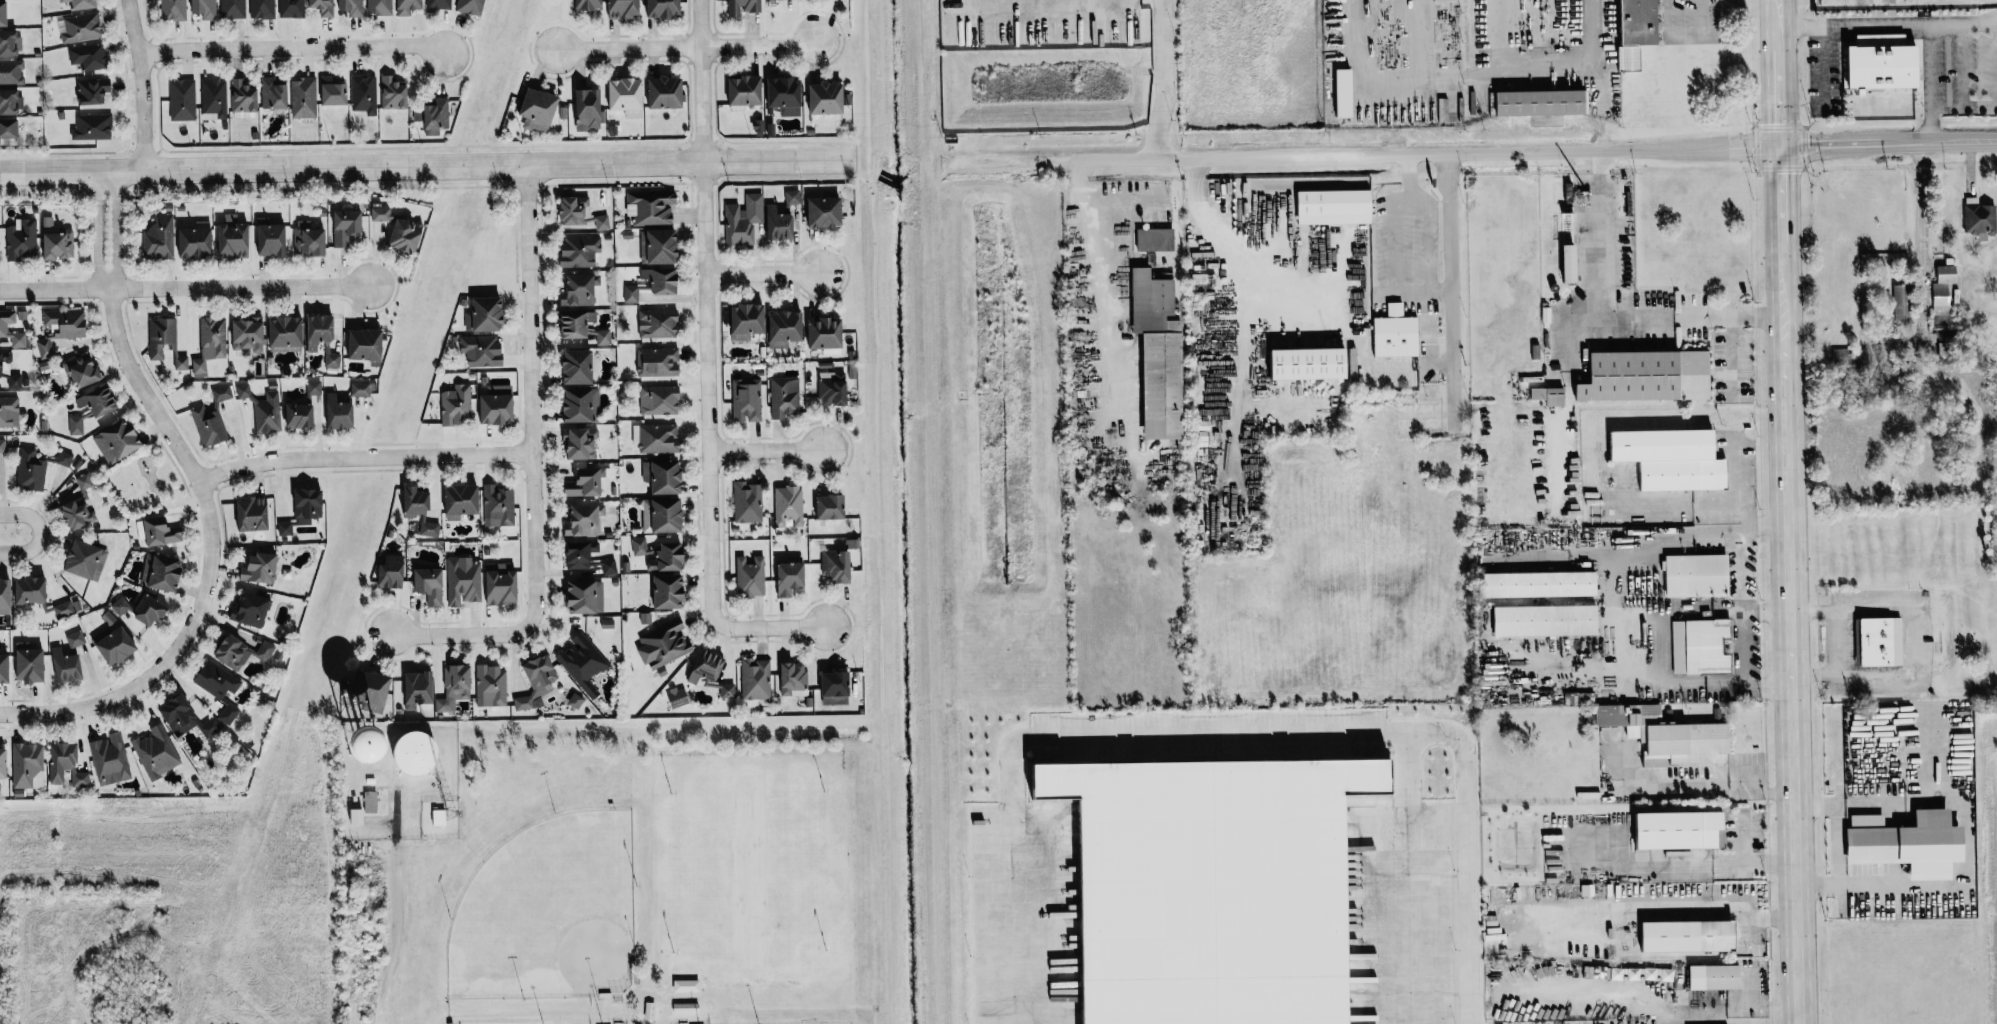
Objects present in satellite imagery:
building: (778, 0)
building: (1438, 0)
building: (79, 4)
building: (438, 4)
building: (589, 4)
building: (323, 7)
building: (351, 7)
building: (379, 7)
building: (408, 7)
building: (471, 7)
building: (743, 7)
building: (205, 8)
building: (232, 9)
building: (261, 9)
building: (291, 9)
building: (664, 9)
building: (173, 10)
road: (1777, 12)
building: (4, 14)
road: (1907, 23)
road: (1958, 25)
building: (81, 28)
building: (1640, 30)
road: (1683, 37)
road: (1778, 37)
building: (9, 43)
road: (293, 47)
road: (687, 47)
building: (88, 57)
building: (10, 72)
road: (1469, 73)
road: (1157, 79)
road: (701, 80)
road: (142, 84)
building: (92, 91)
building: (747, 91)
building: (666, 93)
building: (1346, 93)
building: (273, 94)
building: (334, 94)
building: (364, 94)
building: (393, 94)
building: (787, 96)
building: (244, 97)
building: (303, 97)
building: (627, 97)
road: (1780, 97)
building: (213, 99)
building: (827, 99)
building: (182, 100)
building: (10, 103)
building: (1543, 103)
building: (589, 108)
building: (539, 110)
building: (1444, 110)
building: (418, 115)
building: (437, 116)
building: (93, 127)
building: (9, 128)
road: (1959, 141)
road: (1851, 143)
road: (1368, 155)
road: (425, 166)
road: (1409, 177)
building: (1563, 192)
road: (1782, 193)
building: (793, 197)
building: (1336, 207)
building: (652, 208)
building: (577, 210)
building: (825, 213)
building: (380, 214)
building: (1975, 217)
building: (743, 220)
building: (602, 222)
building: (779, 224)
building: (48, 225)
building: (345, 227)
road: (115, 230)
road: (97, 231)
road: (1922, 233)
building: (406, 235)
road: (1098, 236)
building: (159, 237)
building: (271, 238)
building: (22, 240)
building: (309, 240)
building: (1156, 240)
building: (234, 241)
building: (196, 243)
building: (59, 246)
building: (660, 247)
building: (580, 252)
building: (0, 261)
building: (1573, 263)
road: (763, 273)
building: (1942, 273)
road: (1784, 278)
building: (663, 280)
road: (239, 286)
road: (1450, 287)
road: (54, 289)
building: (580, 291)
road: (1412, 292)
road: (1441, 292)
building: (631, 294)
building: (1937, 296)
building: (1898, 301)
road: (1595, 302)
building: (486, 316)
road: (1757, 316)
building: (748, 321)
building: (66, 323)
building: (658, 324)
building: (13, 327)
building: (584, 327)
building: (786, 329)
building: (321, 331)
building: (287, 332)
building: (826, 333)
building: (1397, 334)
building: (248, 335)
building: (165, 341)
building: (210, 344)
building: (366, 345)
building: (44, 349)
building: (482, 351)
building: (1161, 354)
road: (1731, 356)
building: (1845, 357)
building: (332, 360)
building: (658, 362)
building: (1315, 365)
building: (580, 367)
building: (83, 370)
building: (9, 372)
building: (1649, 377)
building: (361, 389)
building: (833, 389)
building: (221, 393)
road: (708, 393)
building: (1550, 396)
building: (785, 397)
building: (746, 400)
building: (99, 401)
building: (660, 401)
building: (457, 405)
building: (581, 405)
building: (497, 406)
building: (305, 408)
building: (262, 409)
building: (9, 412)
building: (339, 414)
building: (75, 425)
building: (208, 426)
building: (659, 439)
building: (118, 441)
building: (581, 444)
road: (766, 451)
road: (363, 457)
building: (1664, 457)
road: (531, 466)
building: (36, 468)
building: (664, 477)
road: (1735, 482)
building: (586, 484)
building: (461, 502)
building: (747, 502)
building: (308, 506)
building: (498, 506)
building: (788, 507)
building: (831, 508)
building: (421, 510)
building: (77, 514)
building: (253, 515)
building: (668, 516)
building: (583, 521)
road: (1767, 522)
road: (1744, 527)
building: (285, 528)
road: (38, 532)
building: (162, 532)
road: (1720, 533)
building: (639, 546)
building: (581, 554)
building: (666, 557)
road: (208, 558)
building: (85, 560)
building: (837, 565)
building: (608, 567)
building: (259, 569)
road: (1739, 571)
building: (163, 573)
building: (392, 573)
building: (1692, 574)
building: (751, 577)
building: (791, 578)
building: (462, 581)
building: (1531, 583)
building: (501, 585)
building: (431, 586)
building: (670, 592)
building: (6, 597)
building: (42, 597)
building: (585, 597)
building: (144, 609)
building: (251, 610)
building: (1540, 619)
road: (771, 628)
building: (1869, 641)
road: (1912, 641)
road: (1836, 642)
building: (663, 644)
building: (1695, 645)
building: (117, 647)
road: (1660, 649)
road: (1739, 649)
building: (240, 652)
building: (68, 660)
building: (582, 663)
building: (31, 667)
building: (707, 667)
building: (5, 669)
road: (1792, 670)
building: (755, 679)
building: (794, 679)
building: (217, 680)
building: (491, 687)
building: (455, 688)
building: (836, 688)
building: (418, 690)
building: (727, 691)
building: (372, 692)
building: (678, 697)
building: (575, 701)
building: (228, 714)
building: (187, 719)
building: (1661, 734)
road: (1214, 736)
building: (155, 752)
building: (409, 754)
building: (108, 759)
building: (4, 762)
building: (28, 765)
building: (65, 765)
road: (1708, 790)
building: (365, 807)
building: (439, 817)
building: (1672, 829)
road: (1966, 841)
building: (1901, 842)
building: (1198, 886)
road: (1707, 908)
road: (395, 934)
building: (1681, 935)
building: (1586, 971)
building: (1655, 973)
building: (1710, 976)
building: (686, 985)

